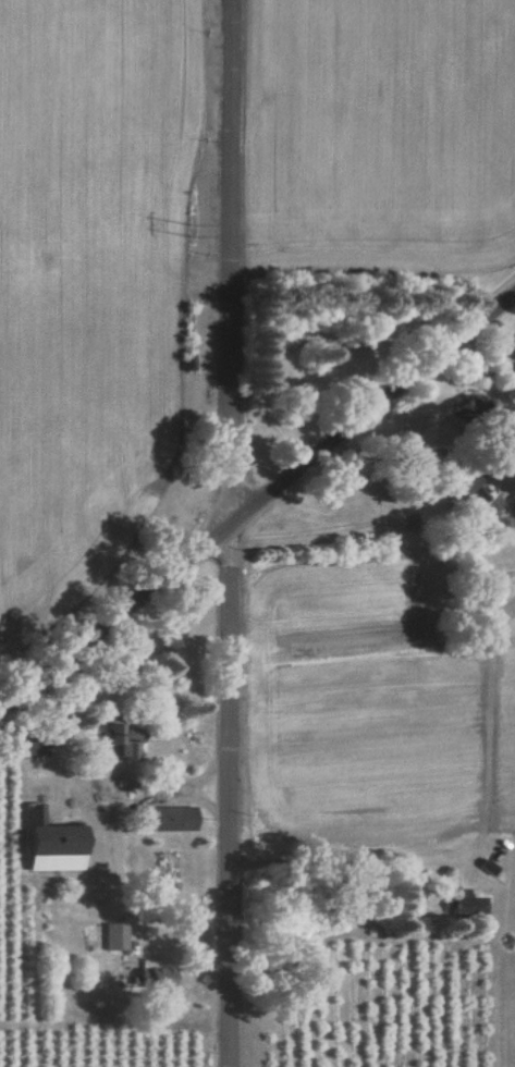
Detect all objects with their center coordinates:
power tower: (199, 241)
road: (438, 451)
building: (465, 485)
road: (257, 508)
road: (235, 533)
road: (100, 756)
road: (188, 787)
building: (171, 819)
road: (346, 860)
road: (122, 871)
building: (468, 904)
road: (179, 937)
building: (115, 940)
building: (157, 981)

